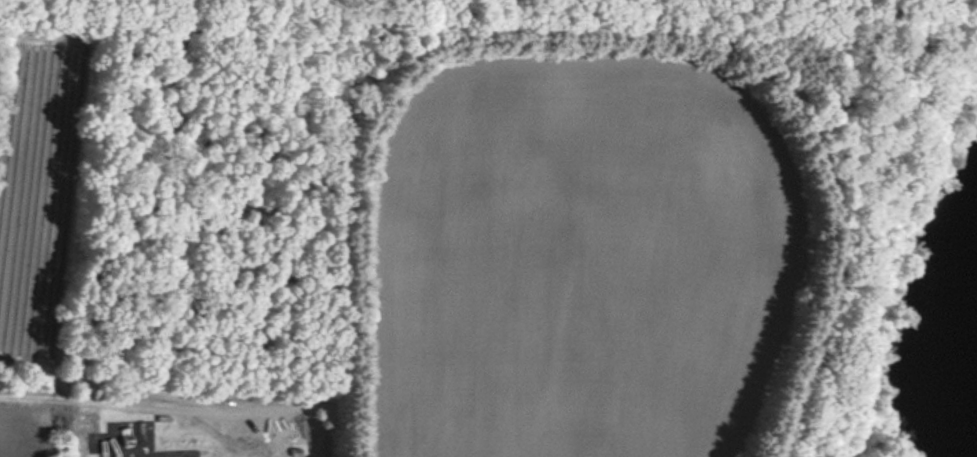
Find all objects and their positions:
river: (973, 300)

